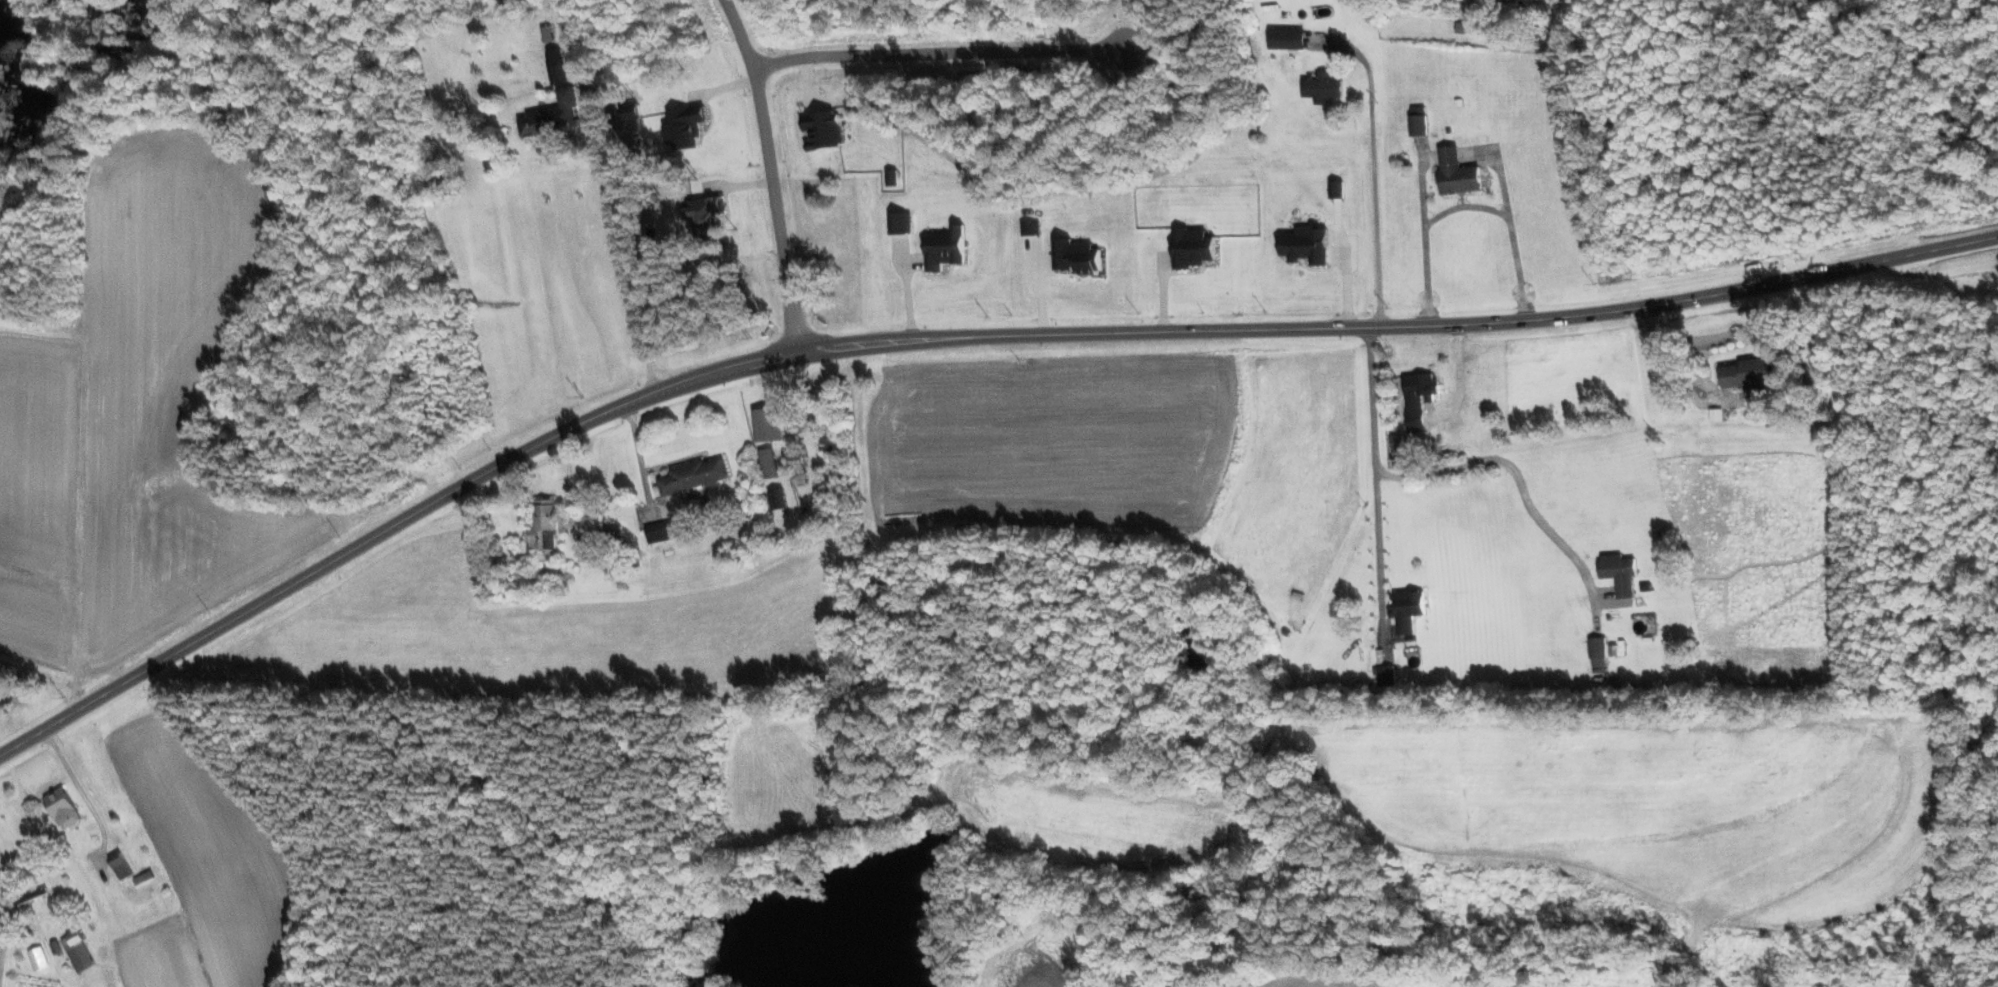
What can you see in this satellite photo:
building: (1461, 27)
building: (1284, 39)
road: (931, 56)
building: (555, 66)
building: (1320, 87)
building: (553, 118)
building: (1416, 120)
building: (683, 127)
building: (820, 130)
road: (1369, 169)
road: (765, 173)
building: (1455, 173)
building: (890, 177)
building: (1334, 189)
road: (1462, 209)
building: (702, 215)
building: (898, 223)
building: (1303, 245)
building: (1189, 248)
building: (942, 249)
road: (622, 251)
building: (1074, 257)
road: (952, 338)
building: (1748, 372)
building: (1416, 399)
building: (765, 425)
building: (826, 445)
building: (767, 463)
building: (797, 469)
building: (692, 476)
road: (1370, 477)
road: (1515, 480)
building: (776, 499)
building: (591, 524)
building: (542, 526)
building: (662, 531)
building: (612, 532)
building: (1617, 573)
building: (1405, 610)
building: (1596, 652)
building: (1385, 679)
road: (79, 791)
building: (59, 808)
building: (119, 867)
building: (142, 879)
building: (30, 895)
building: (76, 952)
building: (36, 958)

